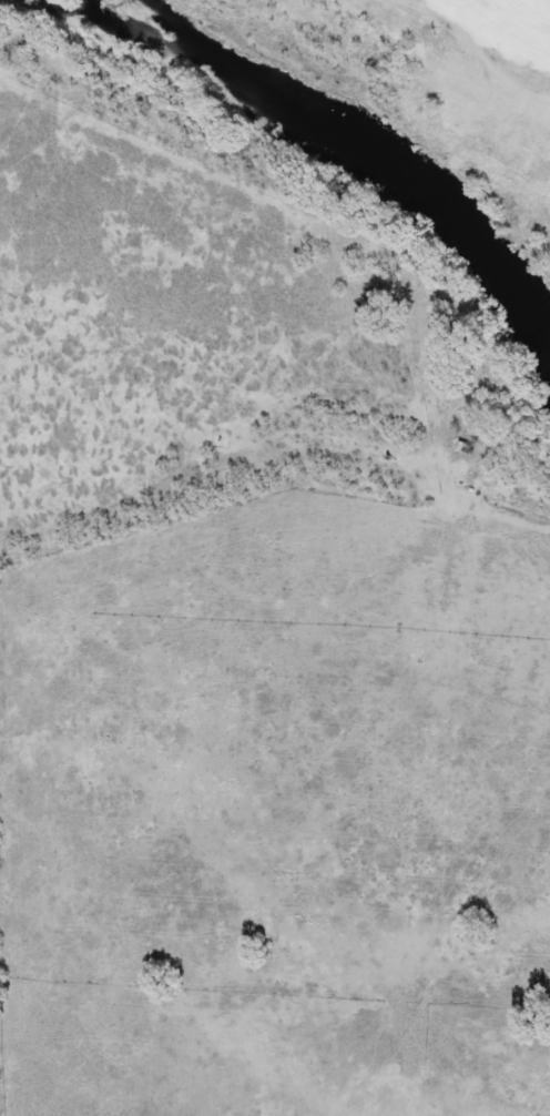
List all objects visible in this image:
road: (544, 1)
river: (317, 136)

